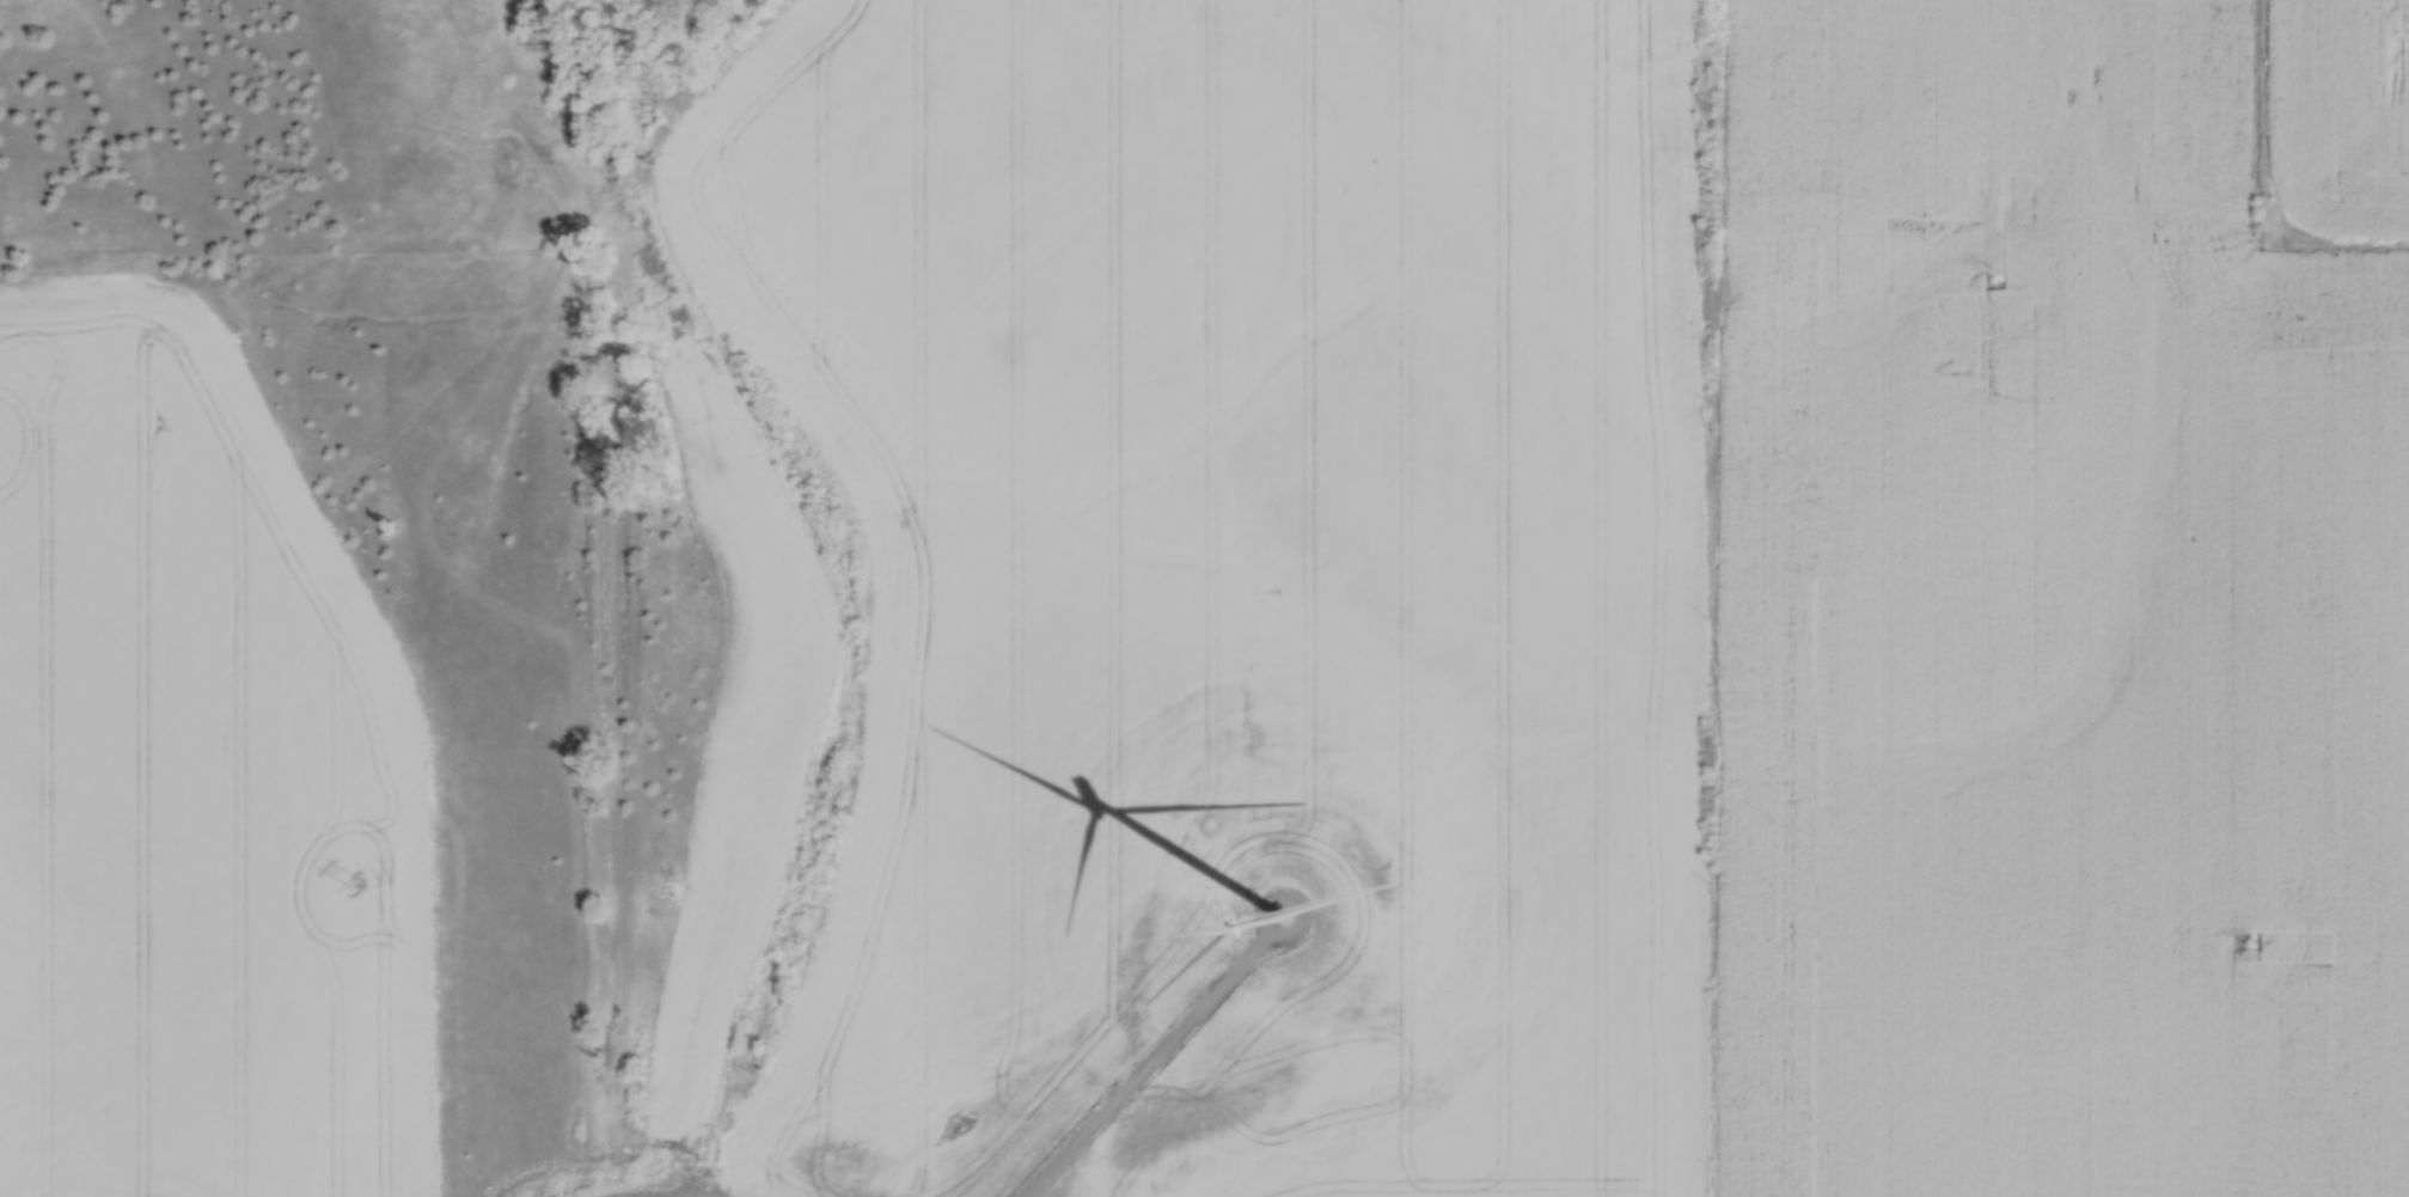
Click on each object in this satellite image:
power tower: (1997, 274)
power tower: (354, 880)
wind turbine: (1284, 918)
power tower: (2251, 945)

